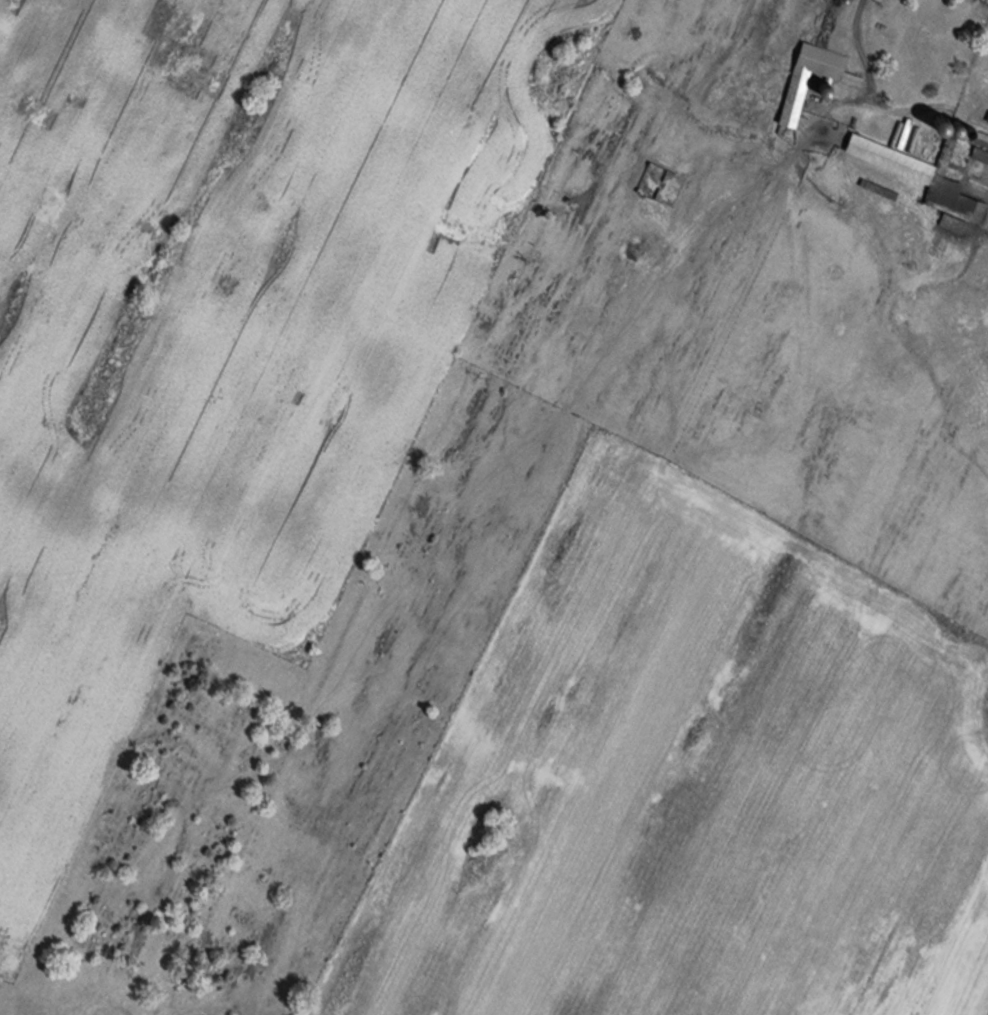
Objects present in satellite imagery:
road: (863, 41)

